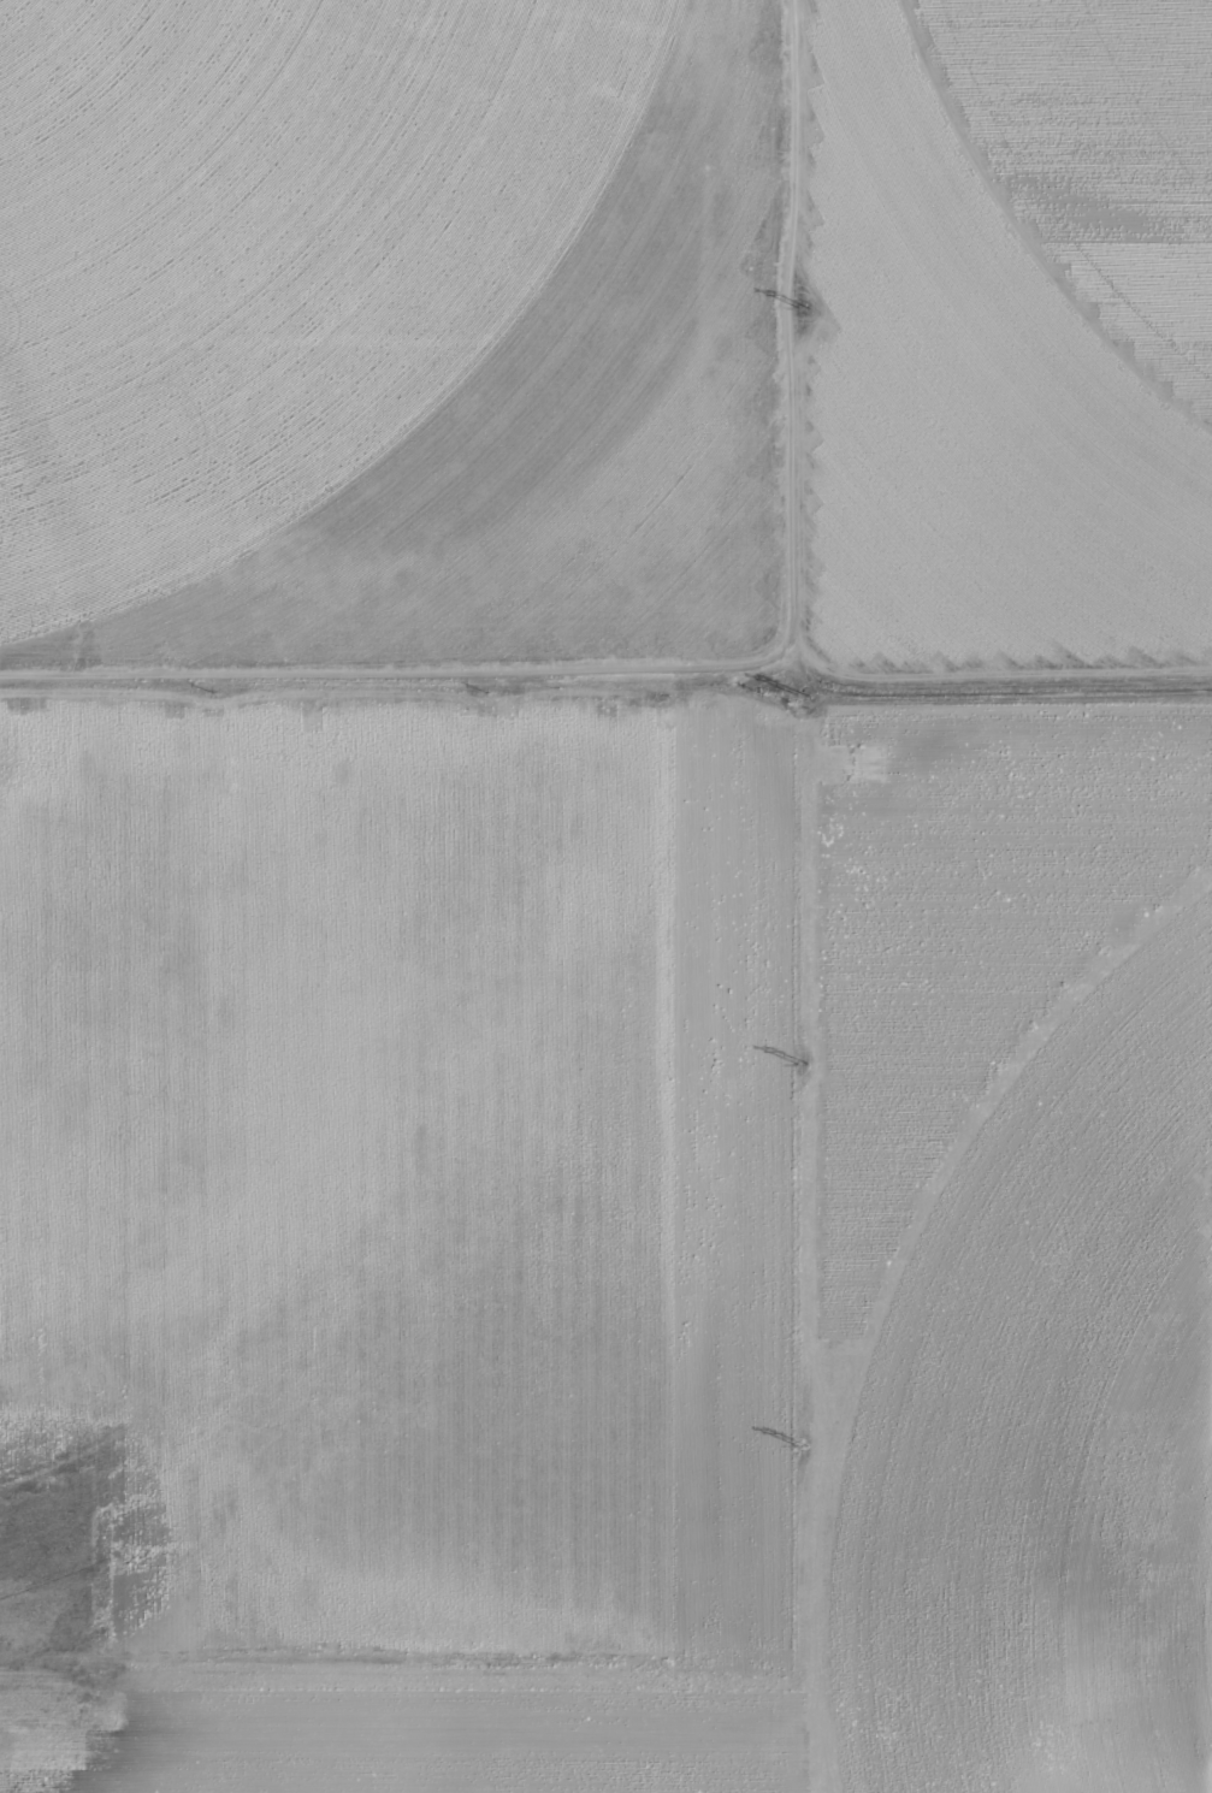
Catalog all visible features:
power tower: (804, 309)
power tower: (804, 697)
power tower: (803, 1064)
power tower: (803, 1446)

